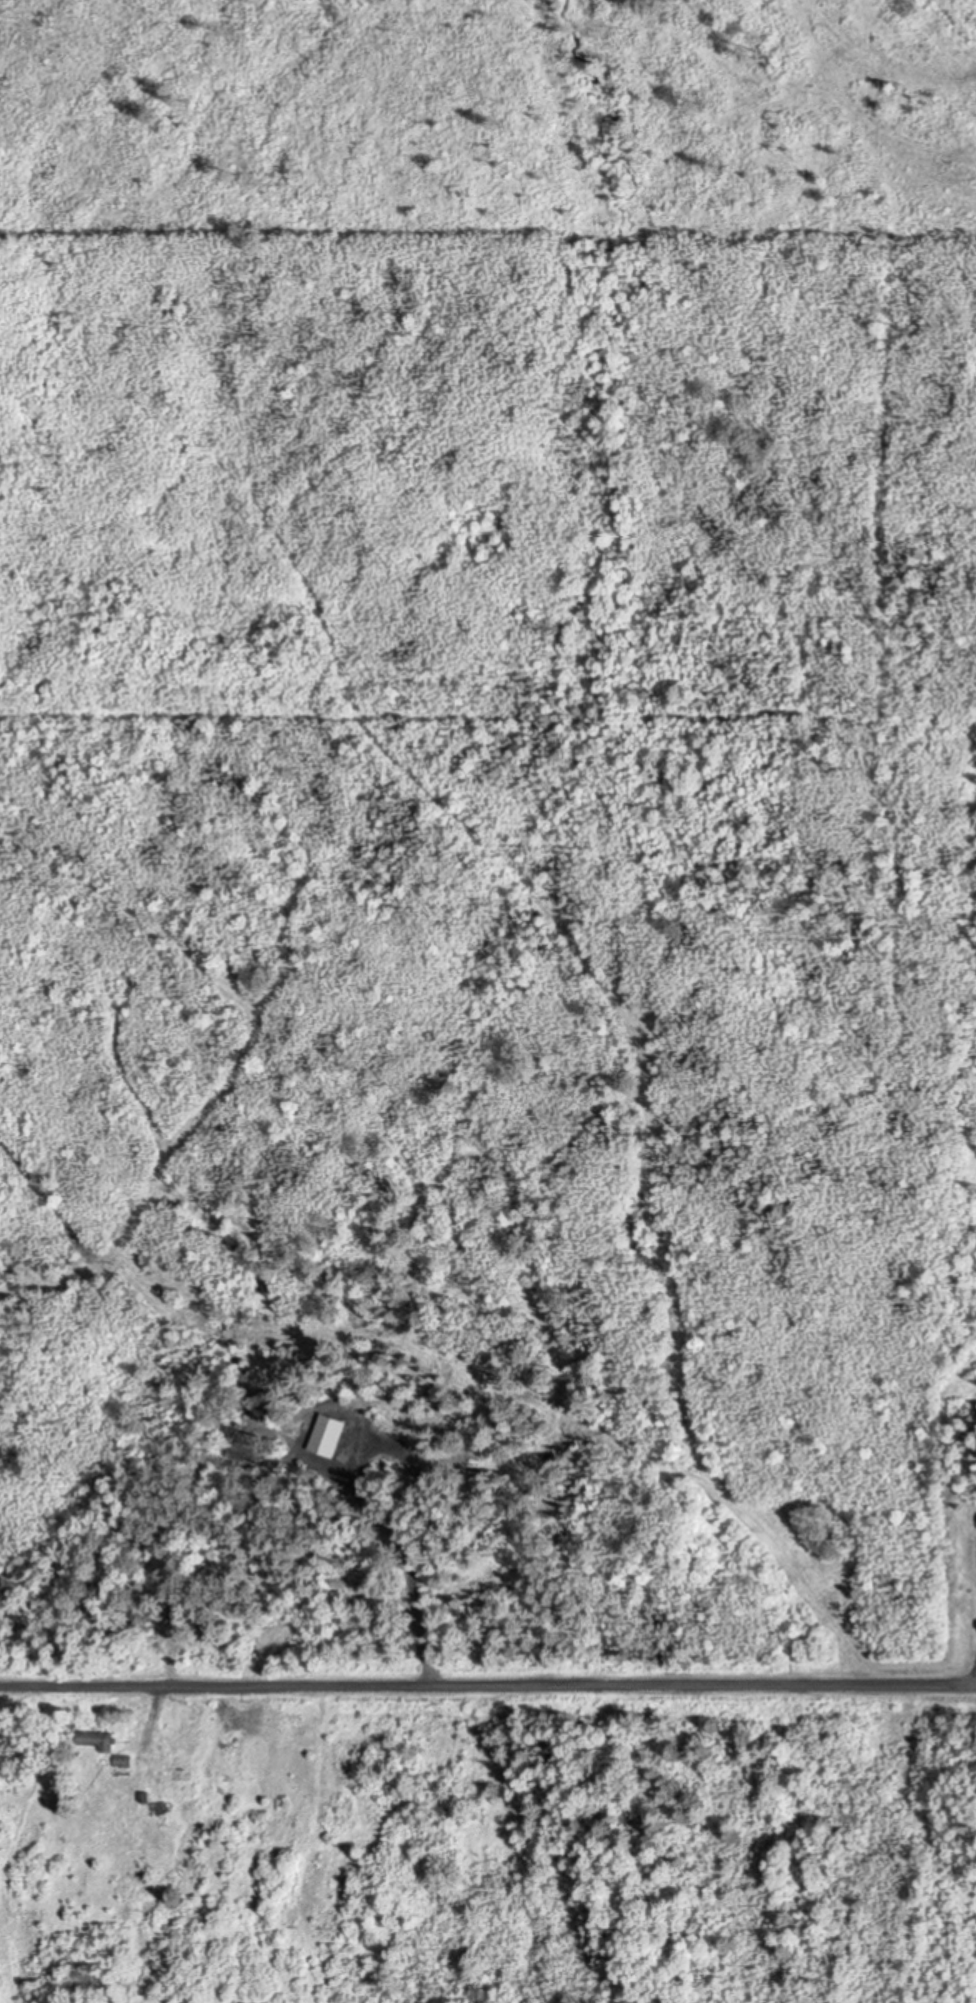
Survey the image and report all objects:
road: (975, 1686)
road: (487, 1687)
building: (98, 1740)
building: (121, 1761)
building: (144, 1796)
building: (158, 1806)

